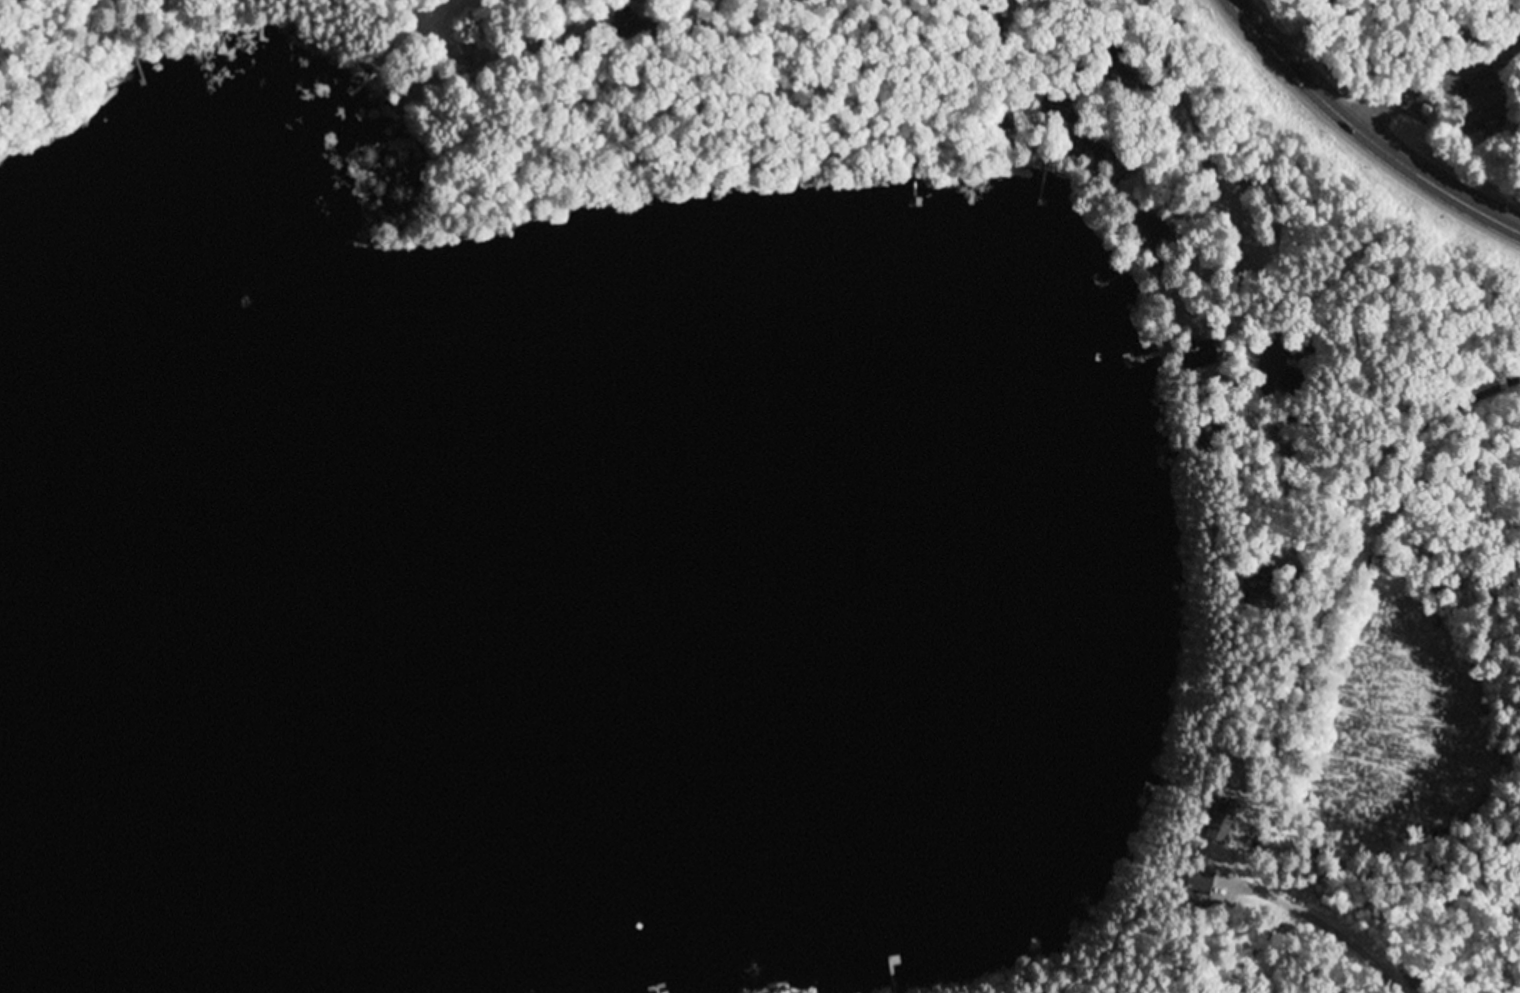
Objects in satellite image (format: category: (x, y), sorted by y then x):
building: (618, 19)
building: (1486, 105)
road: (1360, 132)
road: (1411, 426)

